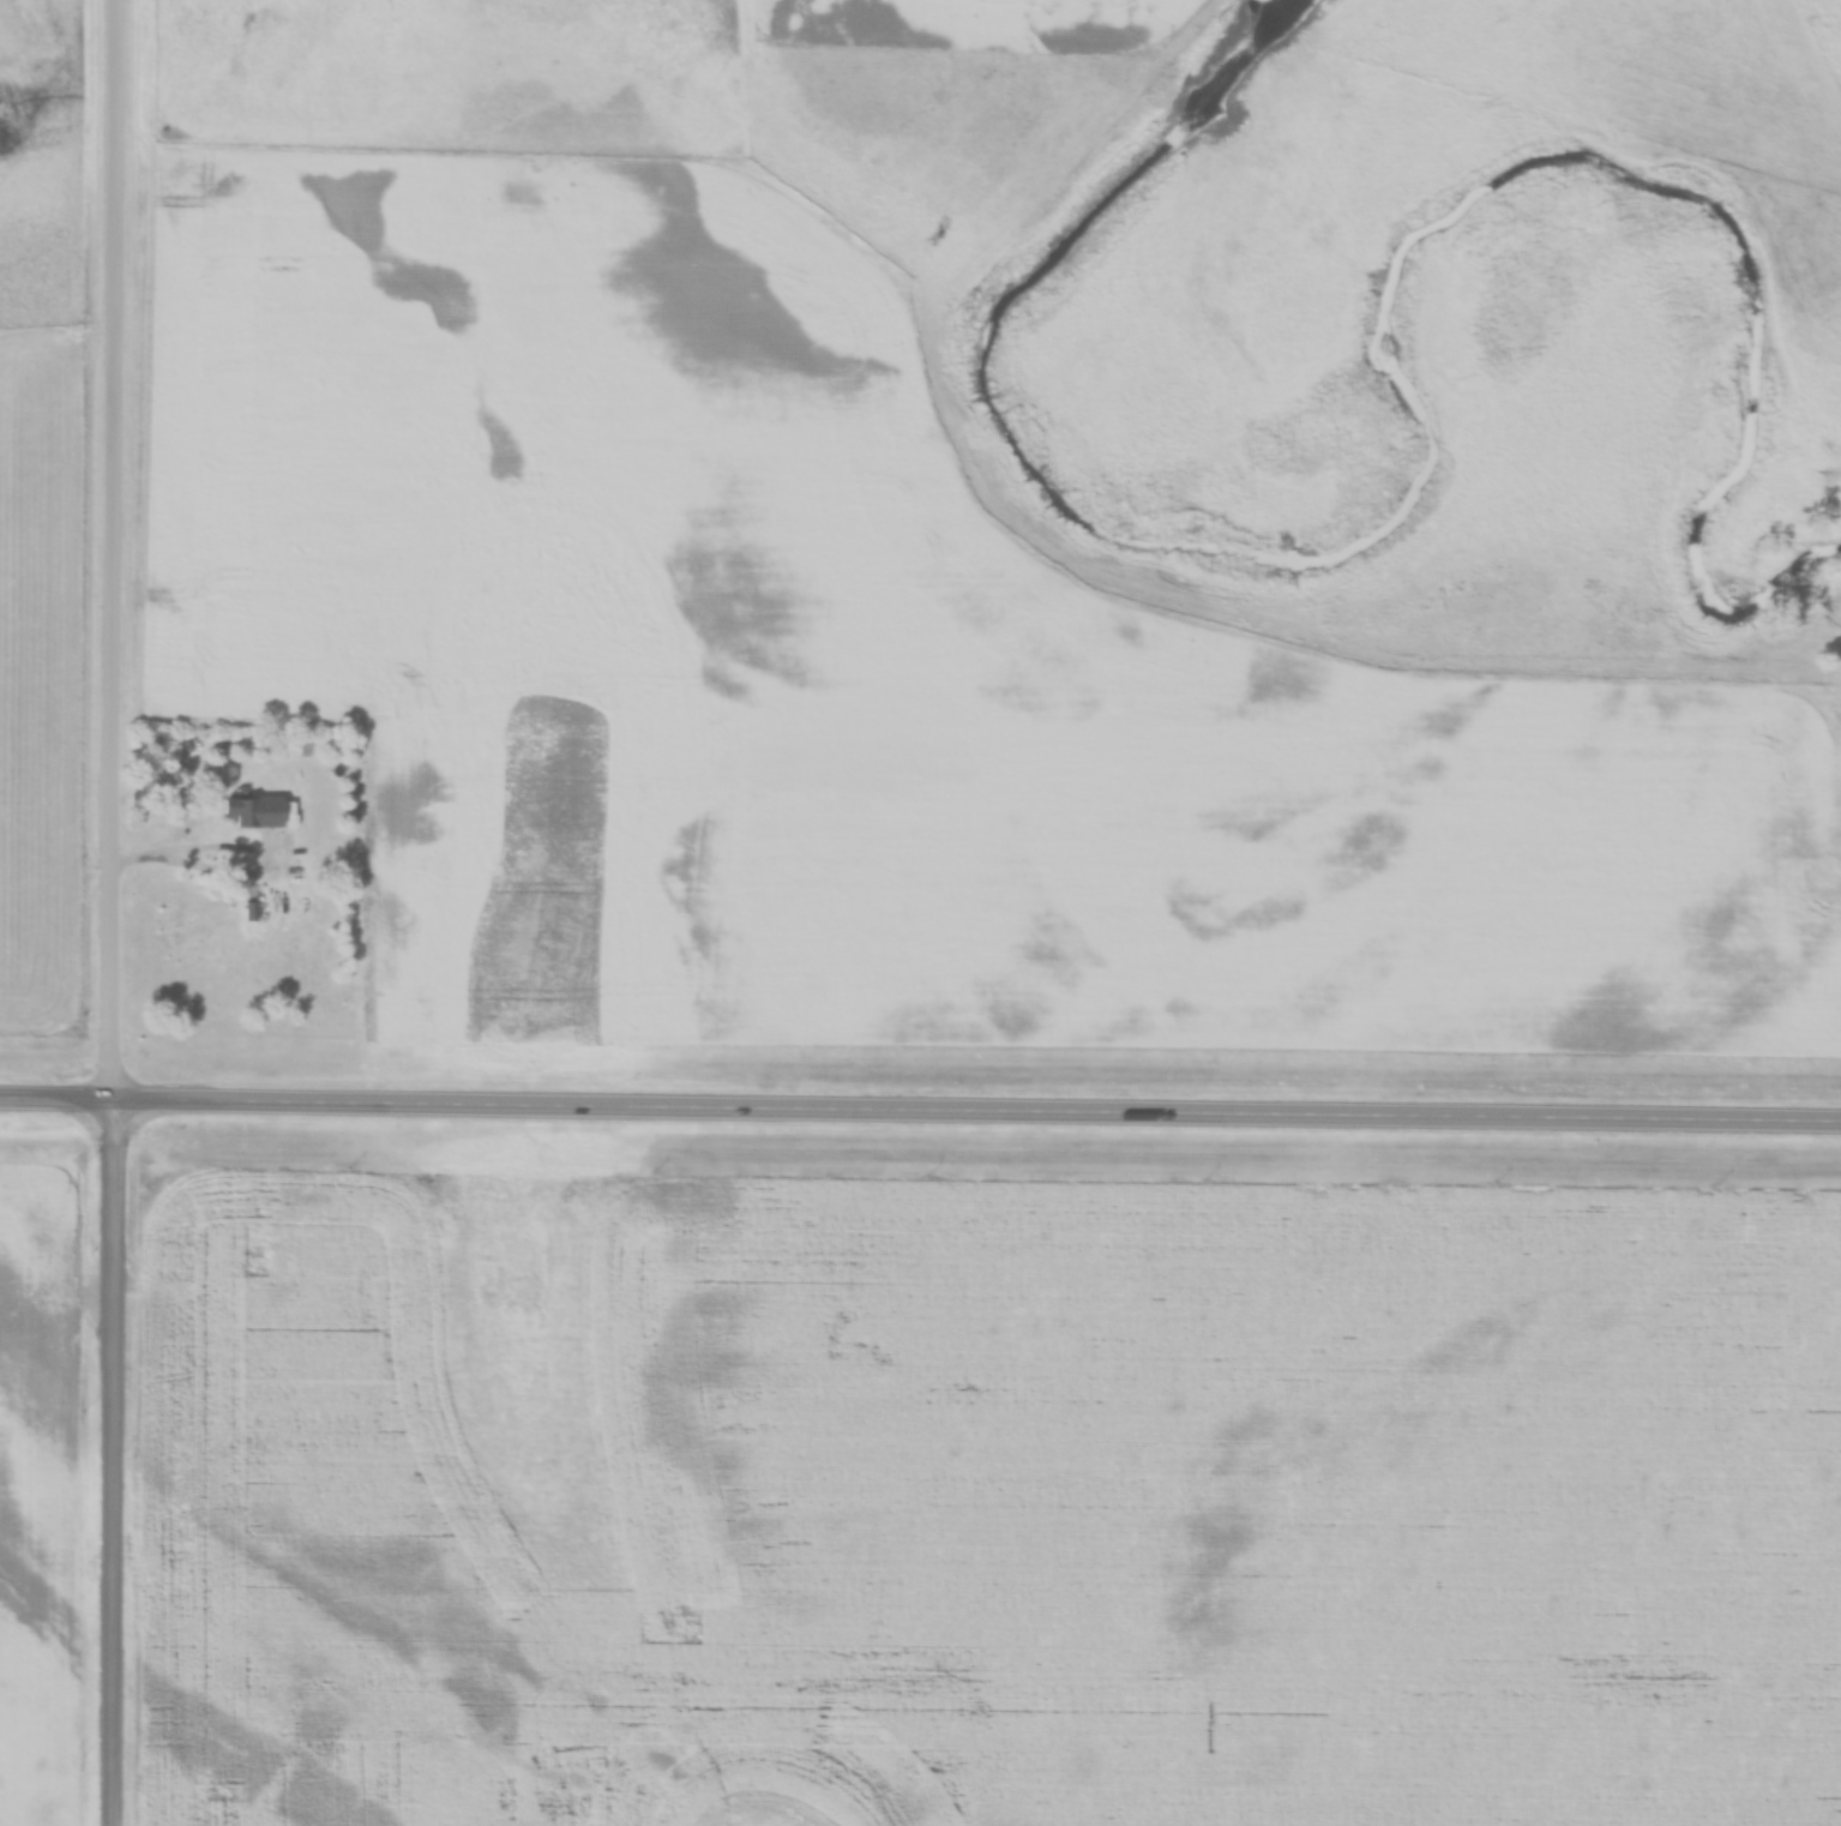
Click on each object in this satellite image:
building: (252, 809)
road: (114, 913)
road: (920, 1111)

